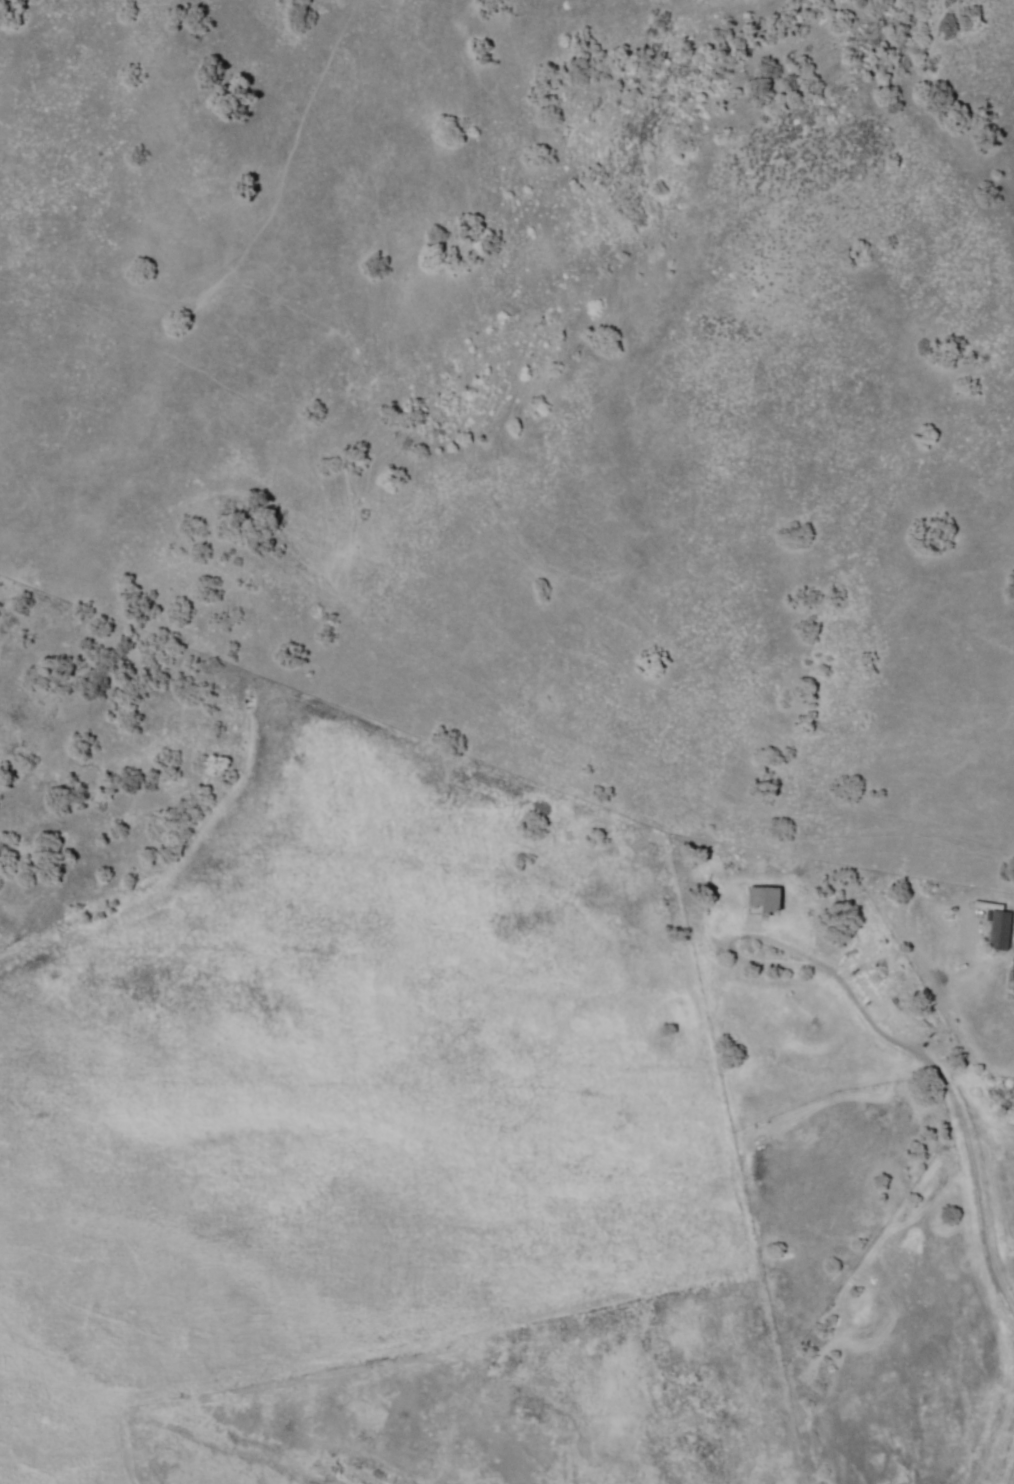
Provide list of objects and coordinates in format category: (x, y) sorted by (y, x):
building: (762, 906)
building: (1001, 930)
building: (1013, 977)
road: (966, 1162)
crop: (189, 1360)
road: (1009, 1466)

